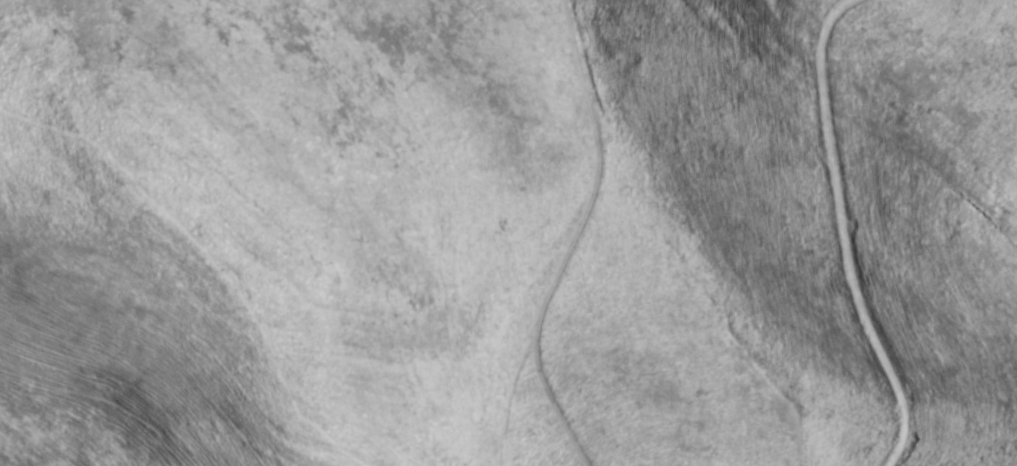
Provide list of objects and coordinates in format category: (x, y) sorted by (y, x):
road: (830, 232)
road: (562, 238)

